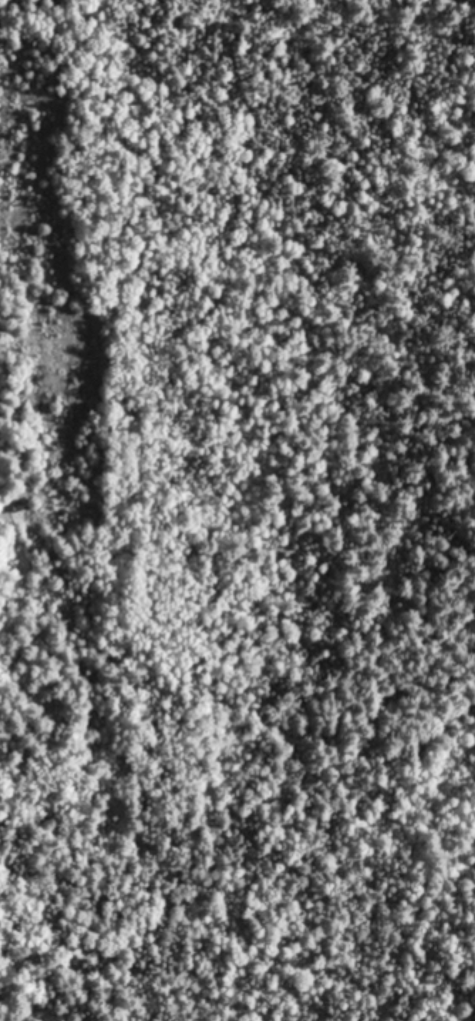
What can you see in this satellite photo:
road: (472, 0)
building: (15, 506)

